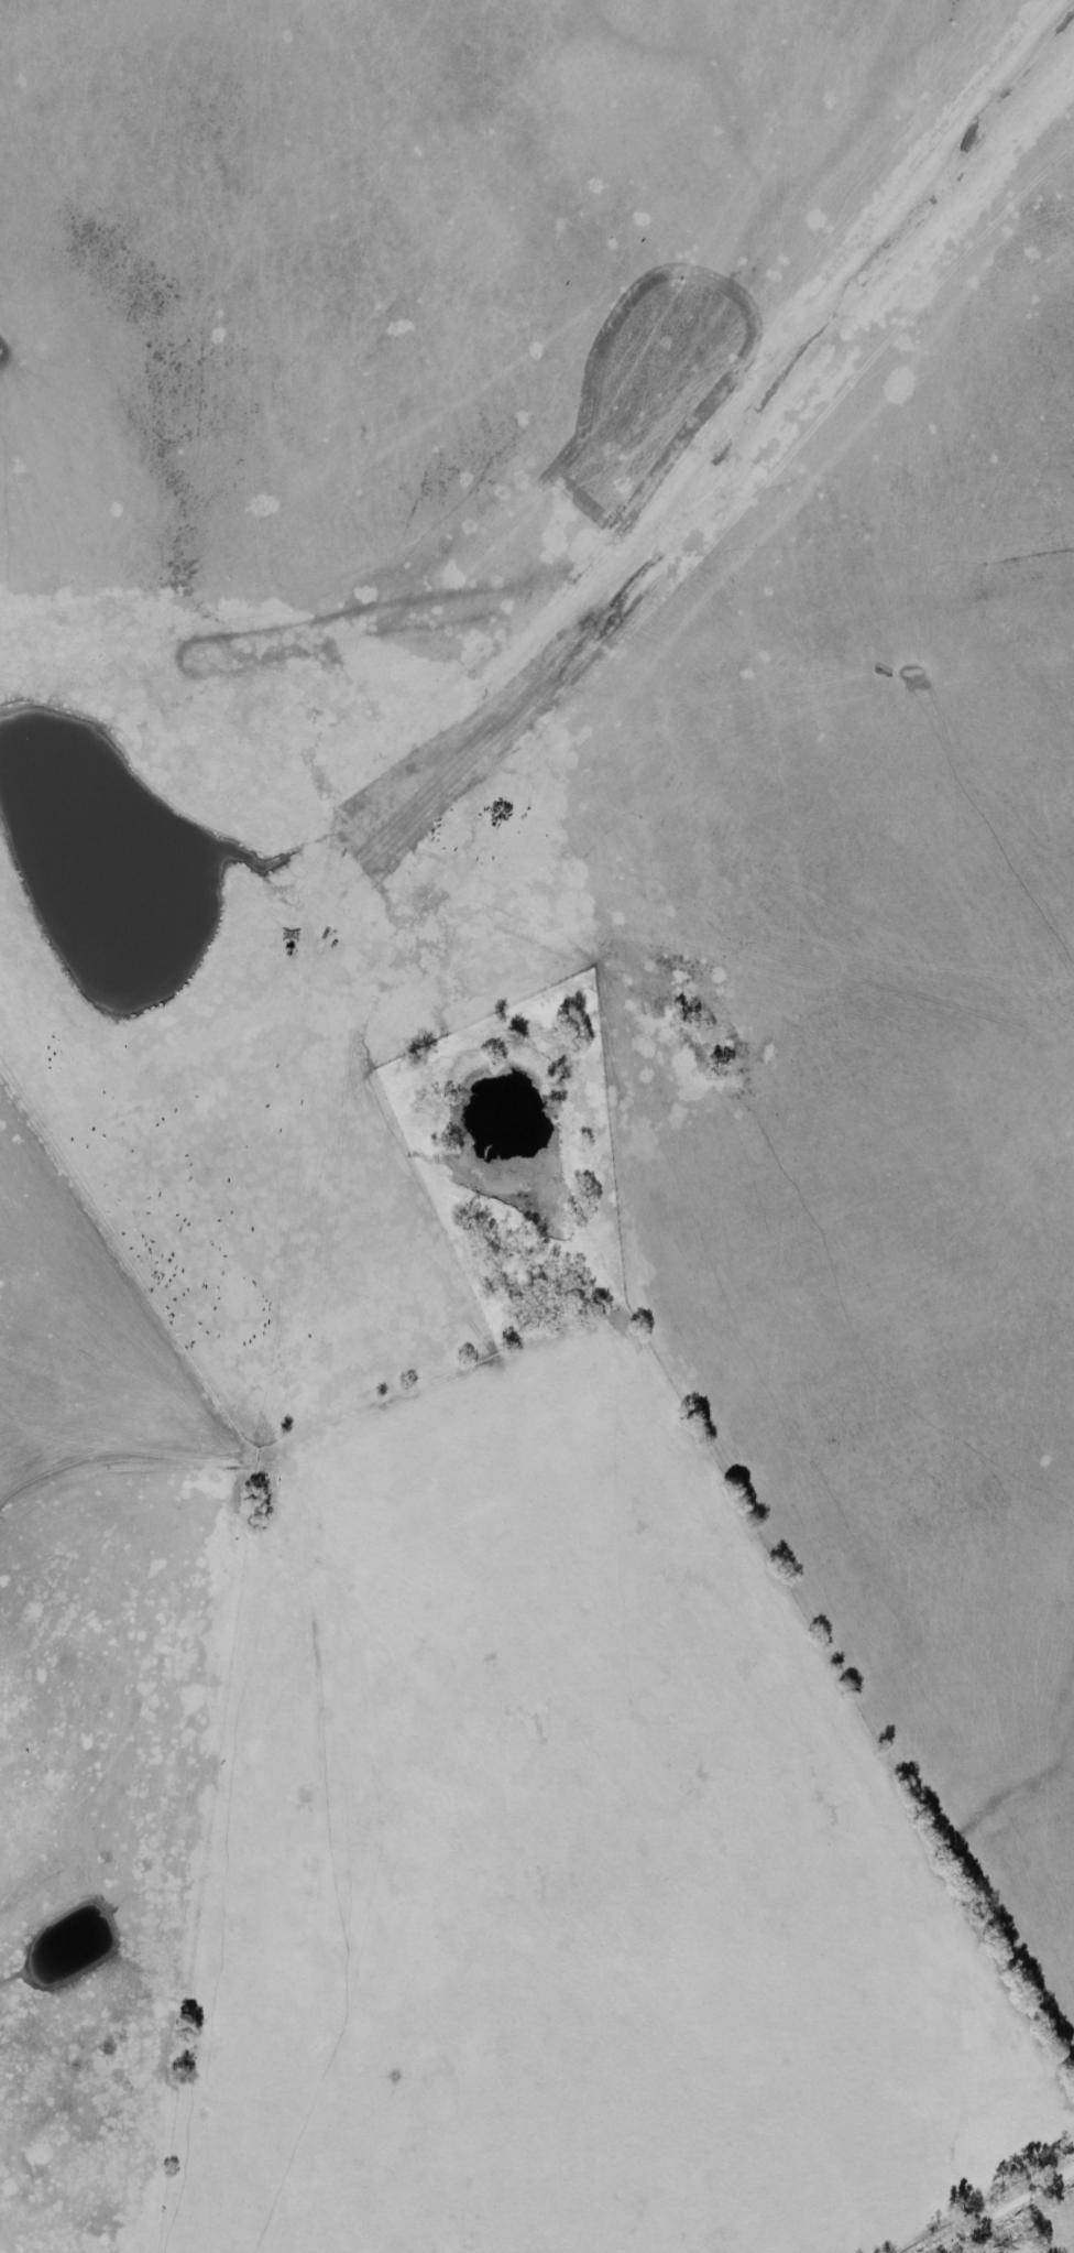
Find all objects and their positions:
road: (1007, 2212)

